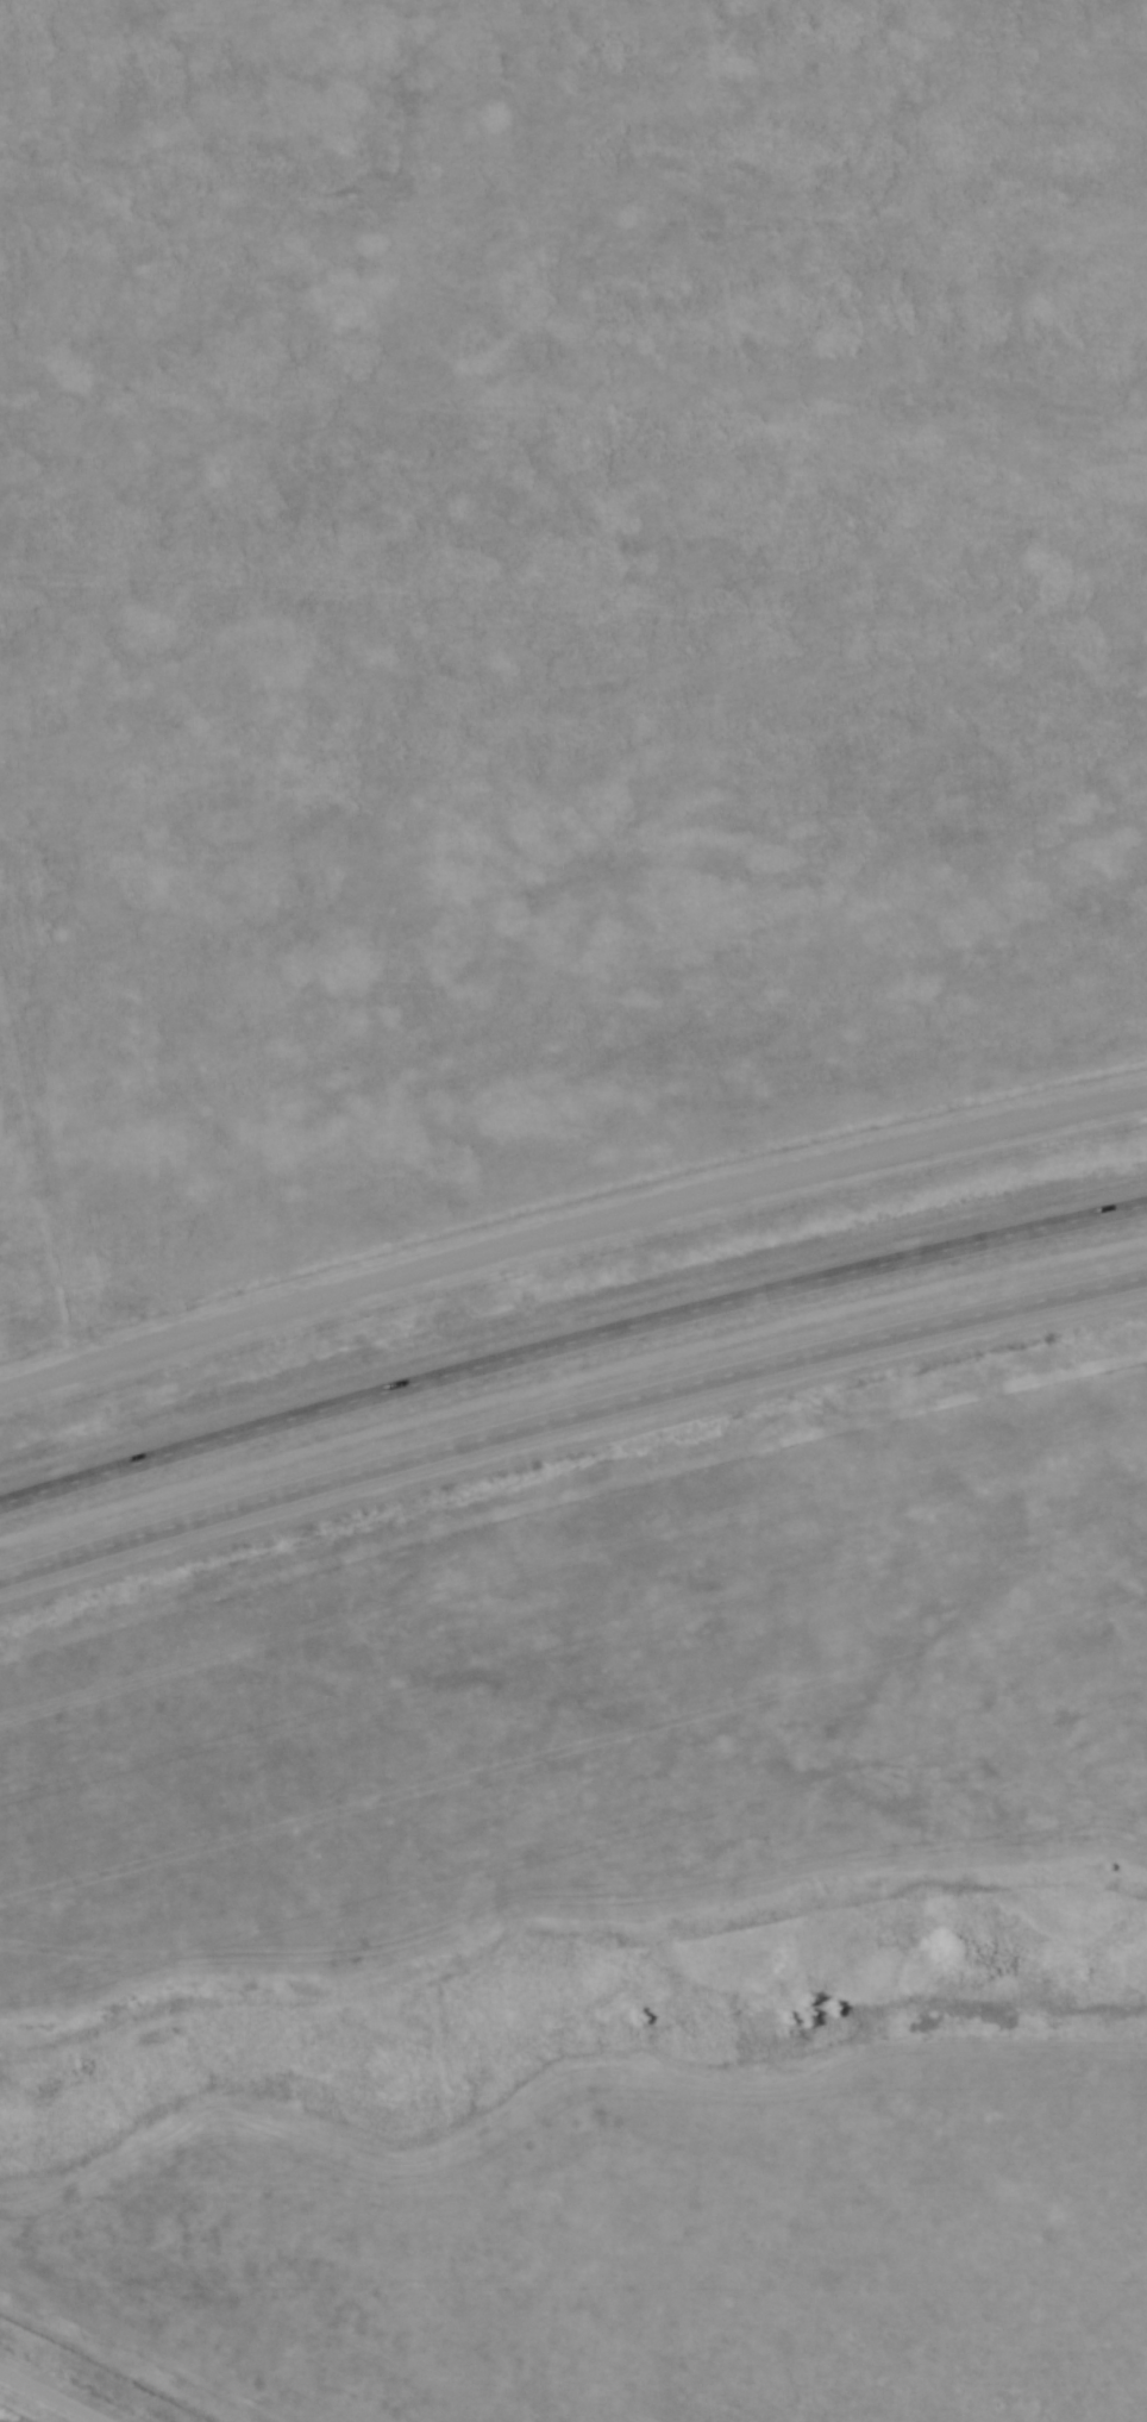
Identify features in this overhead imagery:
road: (569, 1231)
road: (570, 1340)
road: (570, 1415)
road: (46, 2397)

